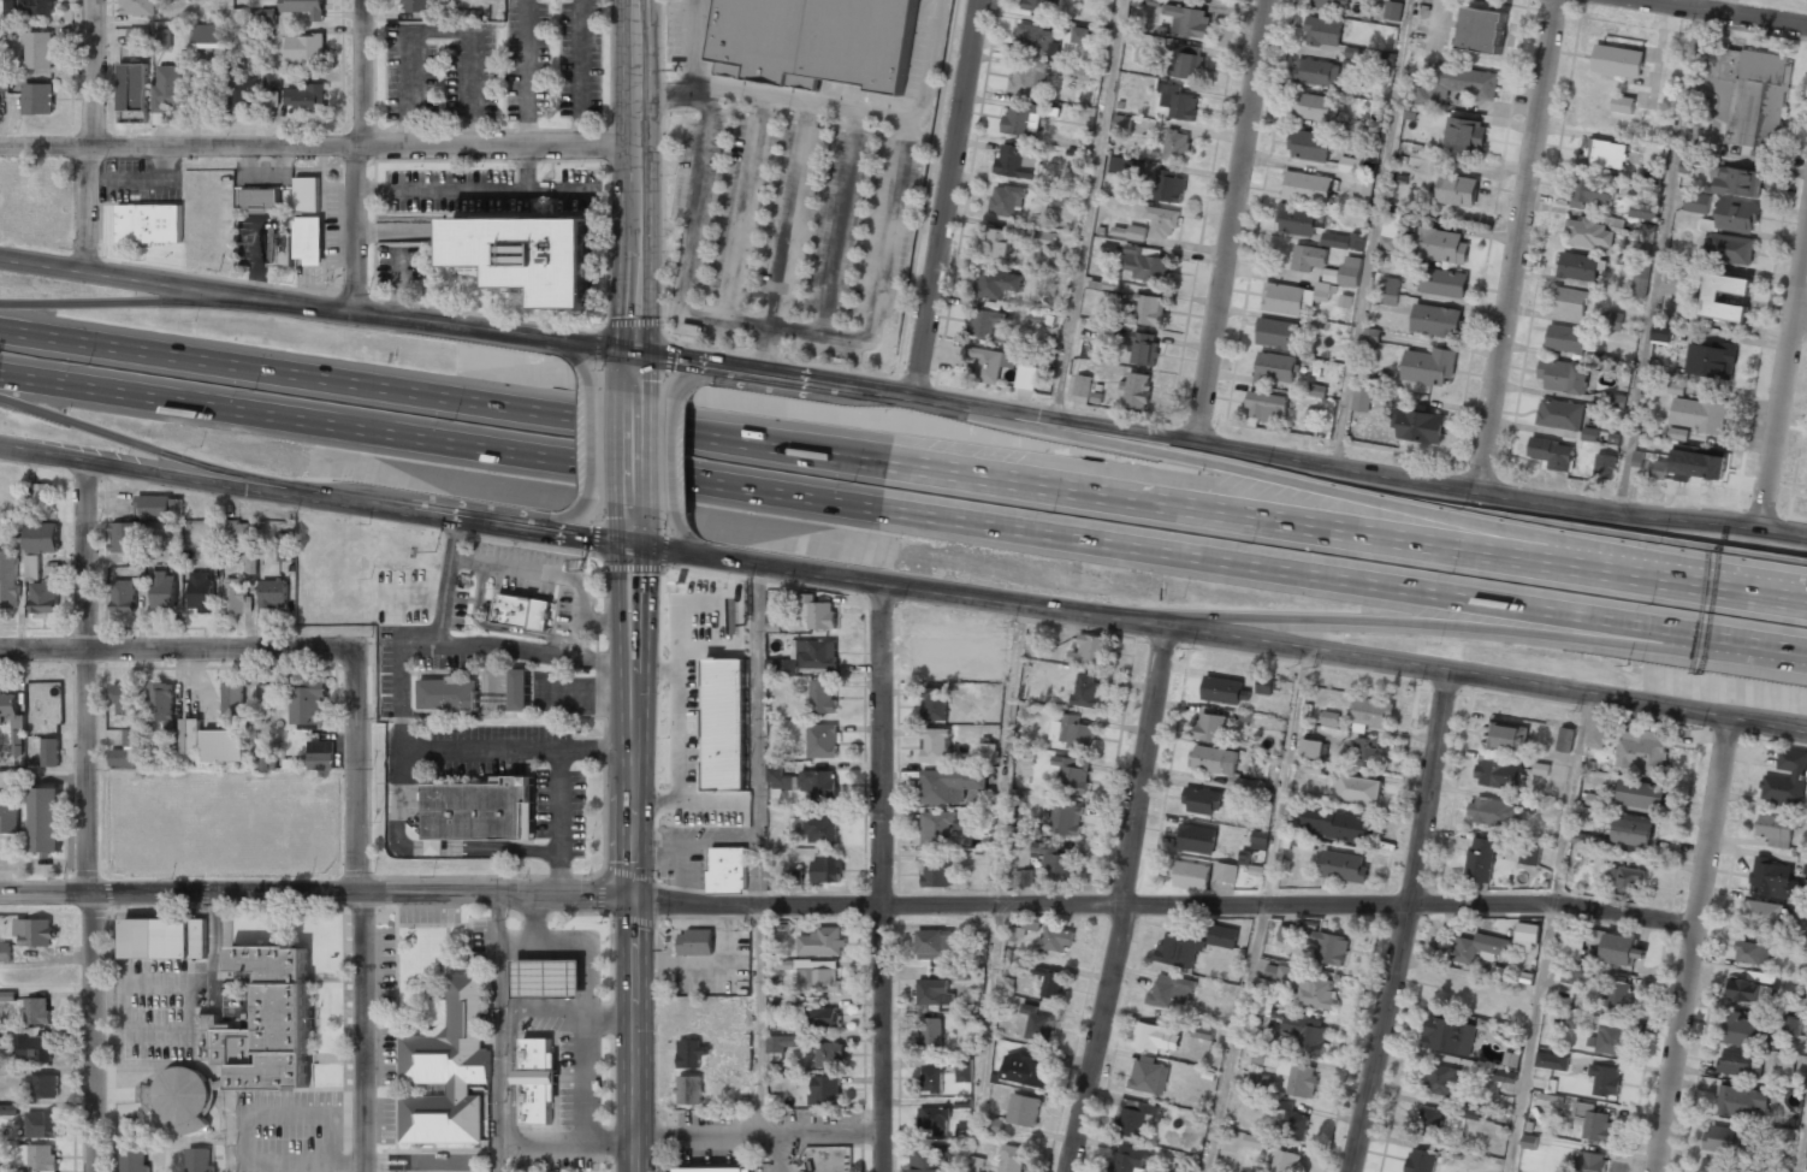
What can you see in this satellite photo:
building: (6, 5)
building: (1043, 5)
building: (1331, 5)
road: (1698, 5)
building: (419, 6)
building: (36, 7)
building: (302, 7)
building: (138, 8)
road: (227, 8)
building: (1393, 10)
road: (1719, 14)
building: (239, 17)
building: (265, 17)
building: (1189, 20)
building: (1483, 29)
building: (1323, 31)
building: (208, 34)
building: (253, 35)
building: (1079, 35)
building: (137, 36)
building: (1037, 39)
building: (161, 40)
building: (816, 41)
building: (304, 49)
building: (37, 51)
building: (1386, 57)
building: (1618, 60)
building: (1189, 61)
building: (1173, 66)
building: (1317, 72)
road: (499, 73)
building: (272, 79)
building: (1029, 79)
building: (4, 83)
building: (1456, 84)
building: (168, 88)
building: (238, 90)
building: (132, 93)
building: (1754, 93)
building: (37, 99)
building: (272, 99)
building: (306, 100)
building: (1178, 102)
building: (1623, 103)
building: (1316, 107)
building: (1017, 122)
building: (1349, 126)
road: (100, 132)
building: (1464, 135)
building: (1178, 144)
building: (1310, 146)
road: (318, 147)
building: (1604, 154)
road: (365, 158)
building: (1017, 161)
building: (1124, 165)
building: (1350, 165)
building: (1654, 174)
building: (1738, 182)
building: (1169, 187)
building: (1307, 188)
building: (1364, 188)
road: (636, 189)
building: (1457, 190)
building: (1592, 191)
building: (307, 195)
building: (1060, 199)
building: (260, 200)
road: (944, 200)
building: (1006, 200)
building: (1696, 202)
road: (1088, 211)
building: (1737, 215)
building: (1301, 219)
building: (1162, 221)
building: (143, 223)
road: (1236, 223)
building: (1390, 231)
building: (1128, 232)
building: (1589, 232)
road: (1373, 233)
building: (1045, 236)
building: (1343, 241)
building: (1000, 243)
building: (296, 244)
building: (1442, 245)
road: (1516, 245)
building: (1729, 248)
building: (1308, 258)
road: (1658, 261)
building: (515, 262)
building: (1145, 264)
building: (1581, 266)
building: (1350, 271)
building: (1642, 272)
building: (1442, 282)
building: (997, 283)
building: (1390, 290)
building: (1294, 297)
building: (1711, 298)
building: (1570, 301)
road: (142, 302)
building: (1148, 309)
road: (1803, 309)
building: (1435, 320)
building: (1613, 320)
building: (989, 325)
building: (1663, 332)
building: (1278, 333)
building: (1370, 338)
building: (1566, 338)
building: (1144, 349)
road: (565, 354)
traffic signals: (638, 355)
building: (1711, 360)
building: (991, 363)
building: (1429, 366)
building: (1275, 368)
building: (1563, 375)
road: (722, 377)
building: (1026, 377)
building: (1083, 385)
building: (1137, 390)
building: (1316, 390)
road: (443, 393)
road: (902, 397)
building: (1362, 397)
road: (1784, 397)
building: (1612, 401)
building: (1267, 407)
building: (1560, 414)
building: (1698, 414)
building: (1313, 416)
building: (1418, 426)
building: (1677, 433)
building: (1589, 434)
road: (603, 442)
road: (636, 443)
road: (156, 450)
building: (1553, 454)
road: (676, 456)
building: (1637, 458)
building: (1698, 466)
building: (1605, 467)
building: (1655, 469)
road: (852, 491)
building: (42, 496)
road: (1276, 496)
road: (318, 499)
building: (156, 508)
road: (1230, 516)
road: (570, 522)
road: (636, 526)
building: (231, 529)
building: (124, 538)
building: (41, 539)
road: (687, 539)
building: (841, 539)
building: (285, 546)
traffic signals: (636, 546)
building: (176, 557)
building: (249, 566)
building: (32, 567)
building: (8, 580)
road: (448, 580)
road: (1689, 587)
building: (162, 591)
building: (200, 593)
building: (273, 594)
building: (123, 597)
building: (233, 597)
building: (43, 598)
building: (817, 611)
building: (515, 612)
road: (1387, 620)
road: (1222, 634)
road: (1754, 639)
road: (178, 649)
road: (537, 650)
building: (936, 651)
building: (1092, 651)
building: (817, 653)
road: (398, 665)
building: (781, 667)
building: (1267, 685)
building: (1085, 689)
building: (1225, 689)
building: (520, 691)
building: (443, 693)
building: (823, 695)
building: (233, 699)
building: (124, 700)
building: (8, 704)
building: (162, 704)
building: (309, 704)
building: (935, 704)
building: (1371, 712)
building: (1331, 718)
building: (724, 724)
building: (1211, 727)
building: (1596, 730)
building: (1074, 733)
building: (191, 736)
building: (1506, 736)
building: (131, 738)
building: (1565, 739)
building: (822, 741)
building: (935, 745)
building: (265, 746)
building: (224, 747)
building: (1641, 751)
building: (988, 752)
building: (1365, 752)
building: (49, 753)
building: (321, 754)
road: (1007, 754)
building: (123, 758)
building: (1214, 759)
building: (1541, 768)
building: (1499, 773)
building: (1072, 774)
building: (1787, 777)
building: (781, 780)
building: (819, 783)
building: (1250, 783)
building: (949, 785)
building: (1357, 789)
building: (1640, 794)
building: (1203, 800)
building: (1595, 800)
building: (481, 809)
building: (1493, 811)
building: (8, 813)
road: (91, 817)
building: (1066, 818)
building: (46, 821)
building: (1337, 823)
building: (814, 825)
building: (937, 828)
building: (1776, 829)
building: (1633, 830)
building: (1196, 837)
building: (1586, 839)
building: (1260, 840)
road: (757, 847)
building: (1529, 853)
road: (633, 858)
building: (1481, 859)
building: (1054, 862)
building: (1344, 866)
building: (1805, 868)
building: (723, 869)
building: (827, 870)
building: (1225, 872)
building: (936, 874)
building: (1191, 875)
building: (794, 877)
road: (881, 878)
building: (1775, 880)
building: (1627, 882)
road: (315, 892)
traffic signals: (633, 894)
road: (1126, 900)
road: (1166, 902)
road: (361, 910)
road: (1263, 912)
building: (1760, 914)
road: (1406, 924)
building: (34, 933)
building: (1287, 934)
road: (1551, 935)
building: (1222, 936)
building: (1525, 937)
building: (164, 939)
building: (1055, 940)
building: (691, 941)
building: (822, 942)
building: (935, 943)
building: (1571, 945)
building: (1331, 947)
road: (1694, 947)
building: (1480, 948)
building: (1621, 949)
building: (1179, 951)
building: (5, 953)
building: (1753, 953)
building: (959, 972)
building: (1570, 973)
building: (818, 976)
building: (547, 978)
gas station: (547, 978)
building: (1053, 982)
building: (1304, 984)
building: (1169, 990)
building: (1742, 990)
building: (934, 993)
building: (1619, 996)
parking lot: (182, 1000)
building: (1800, 1005)
building: (1263, 1008)
building: (37, 1012)
road: (991, 1012)
building: (822, 1017)
building: (973, 1019)
building: (1571, 1019)
building: (265, 1023)
building: (1038, 1024)
building: (1793, 1025)
building: (1742, 1030)
road: (497, 1032)
building: (1204, 1032)
building: (930, 1034)
building: (1305, 1034)
building: (1448, 1035)
building: (1615, 1035)
building: (0, 1036)
building: (1156, 1037)
building: (783, 1042)
building: (34, 1049)
building: (692, 1053)
building: (830, 1054)
building: (1511, 1059)
building: (1551, 1060)
building: (1741, 1063)
building: (1784, 1063)
building: (1025, 1069)
building: (964, 1070)
building: (1288, 1070)
building: (448, 1071)
building: (1149, 1075)
building: (1504, 1076)
building: (932, 1079)
building: (1605, 1079)
building: (537, 1081)
building: (1445, 1081)
building: (1262, 1082)
building: (42, 1087)
building: (689, 1090)
building: (825, 1090)
building: (182, 1100)
building: (1550, 1100)
building: (1741, 1101)
building: (8, 1109)
building: (1024, 1109)
building: (1137, 1117)
building: (935, 1120)
building: (1293, 1123)
building: (1594, 1123)
building: (995, 1124)
building: (41, 1125)
building: (1429, 1126)
parking lot: (289, 1131)
road: (757, 1132)
building: (1726, 1140)
building: (1255, 1142)
building: (1529, 1142)
road: (778, 1152)
road: (1803, 1155)
building: (1806, 1156)
building: (929, 1158)
building: (42, 1159)
building: (1012, 1159)
building: (1130, 1159)
building: (200, 1160)
building: (135, 1161)
building: (1285, 1161)
building: (1421, 1161)
building: (1590, 1162)
building: (973, 1164)
building: (1717, 1166)
building: (715, 1170)

